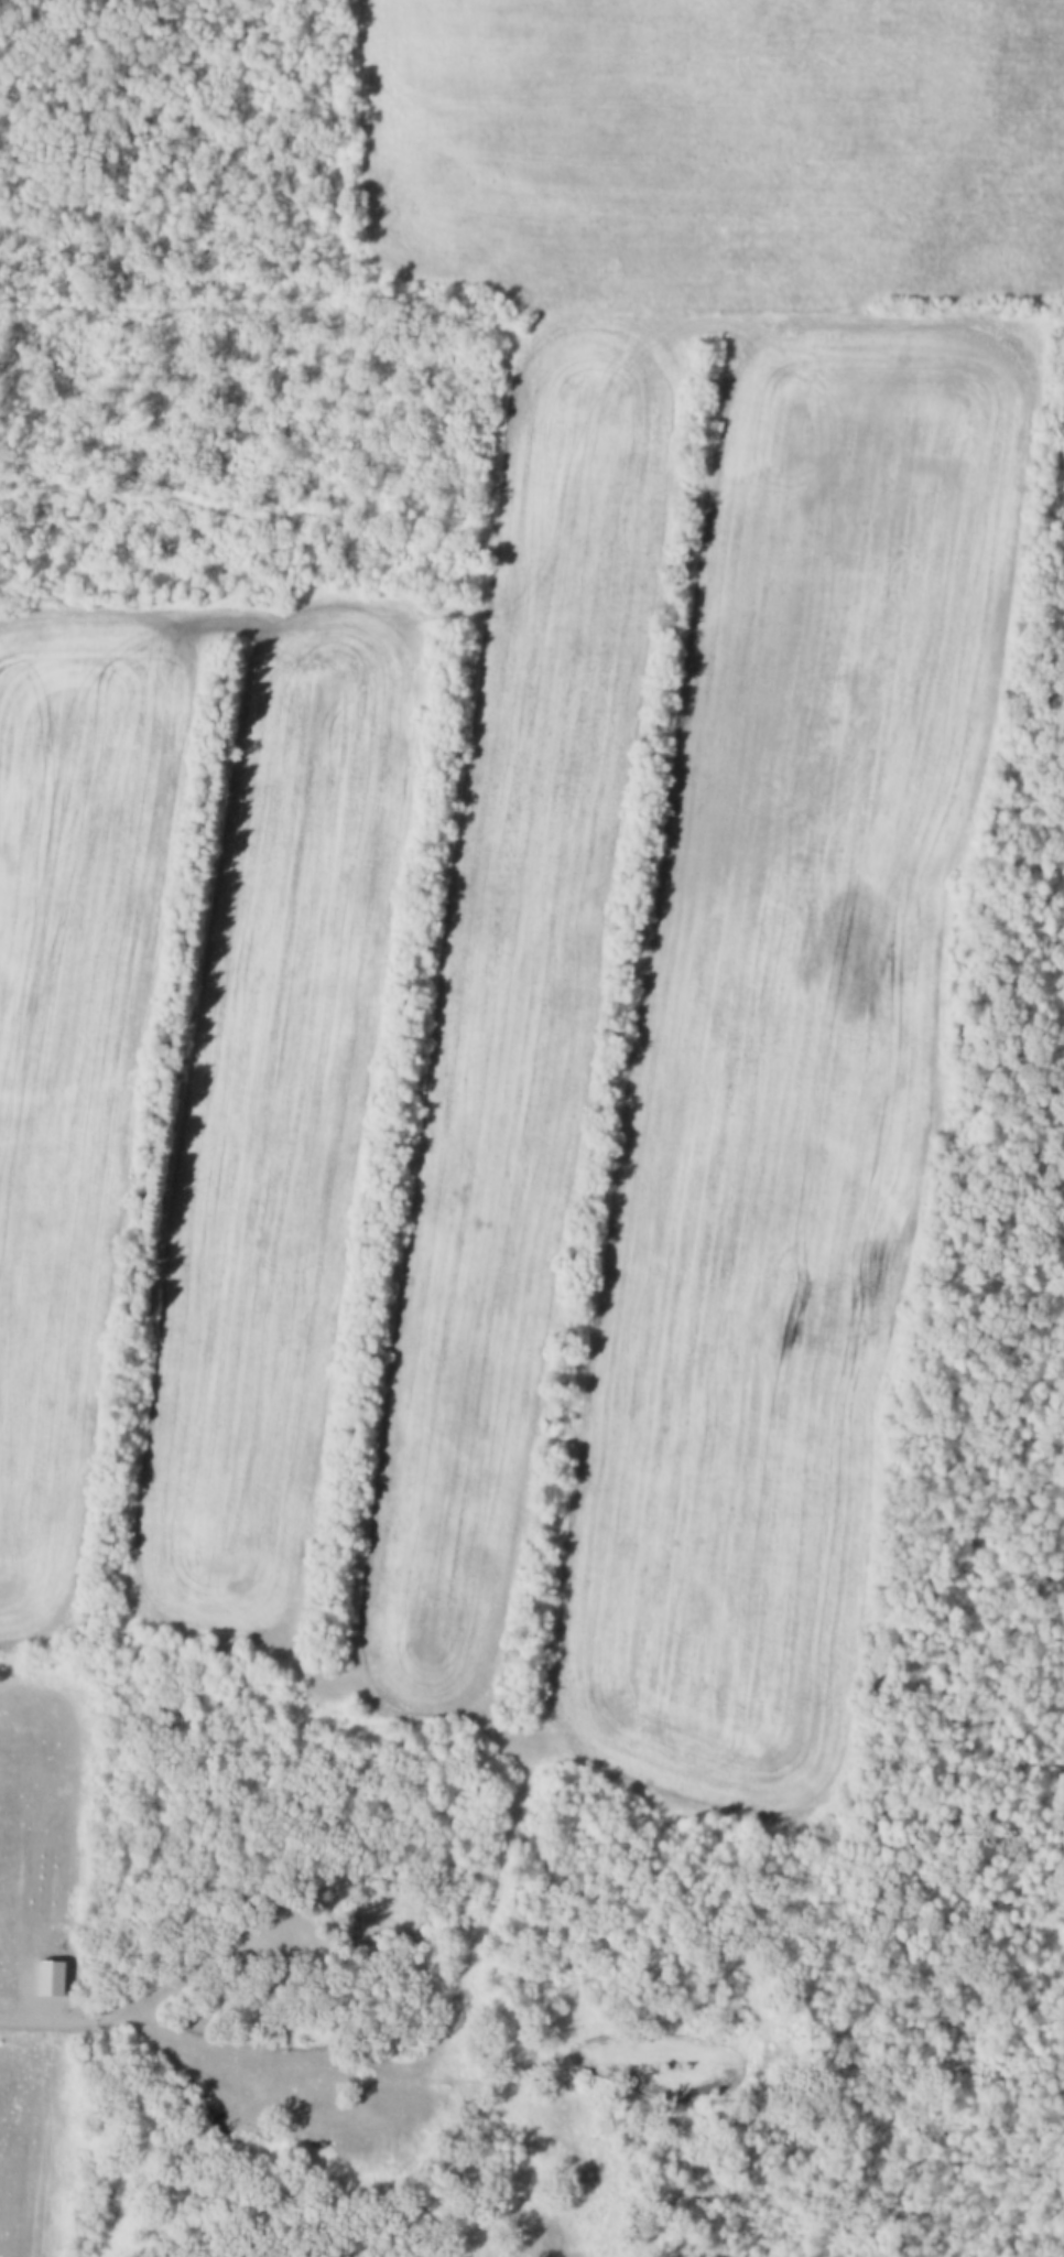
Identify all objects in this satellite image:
road: (137, 1994)

